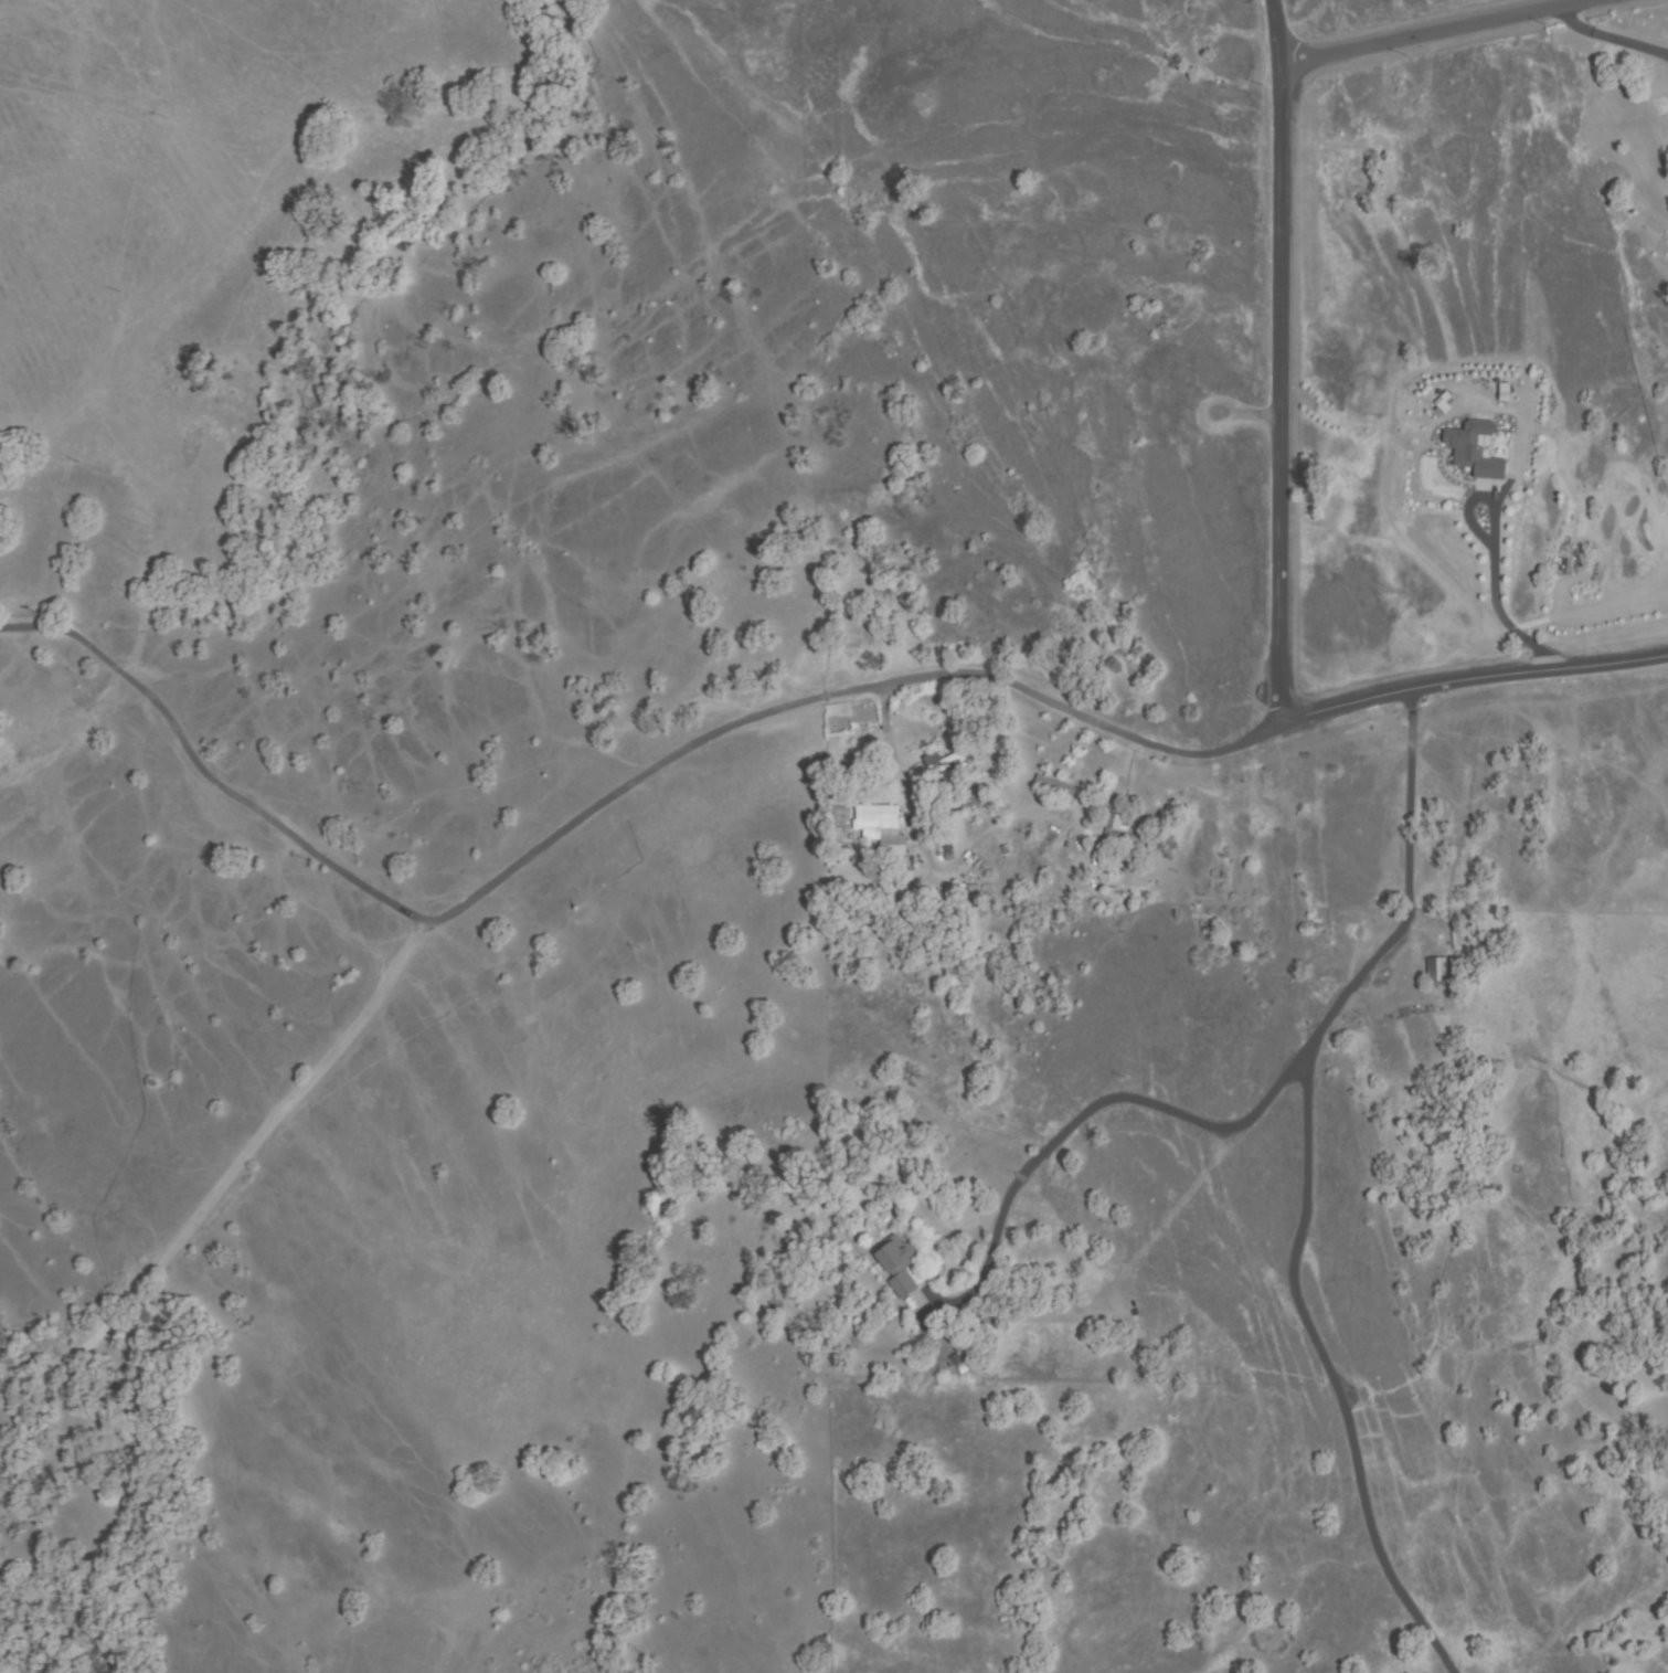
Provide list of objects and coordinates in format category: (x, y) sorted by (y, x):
road: (1444, 35)
road: (1269, 374)
building: (1500, 391)
building: (1475, 452)
road: (1465, 692)
building: (948, 767)
building: (918, 780)
building: (1054, 785)
road: (586, 817)
building: (880, 827)
building: (1108, 827)
building: (1436, 970)
road: (223, 1182)
building: (896, 1264)
building: (912, 1298)

